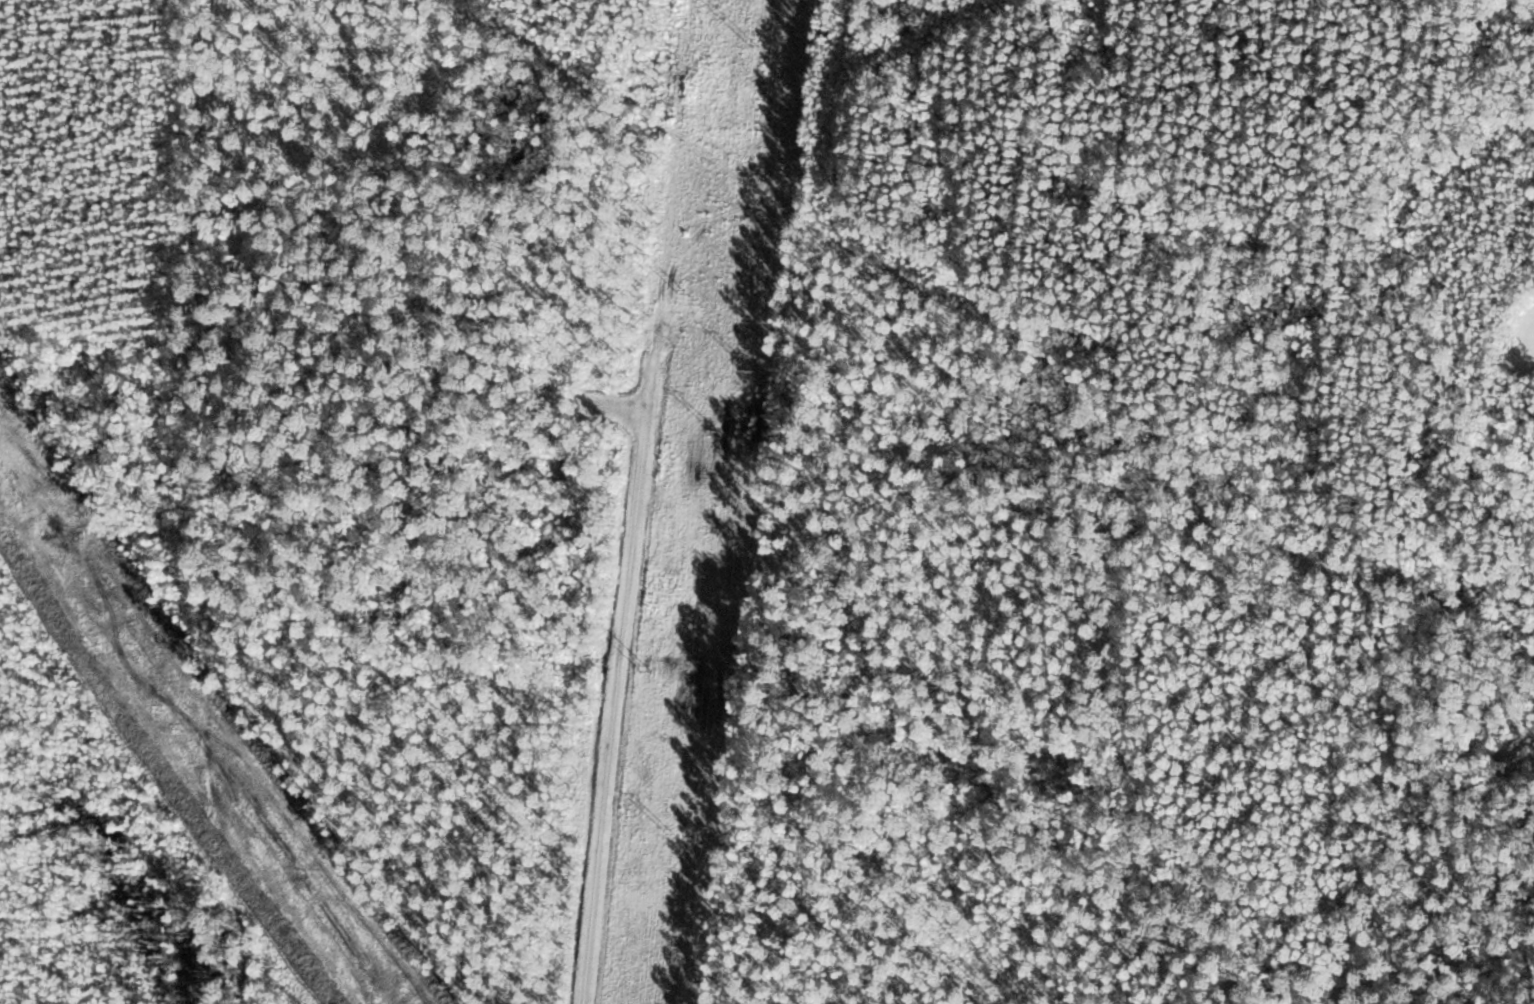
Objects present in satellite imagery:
power tower: (755, 47)
power tower: (687, 298)
power tower: (752, 370)
power tower: (714, 432)
power tower: (646, 672)
power tower: (711, 777)
power tower: (673, 836)

